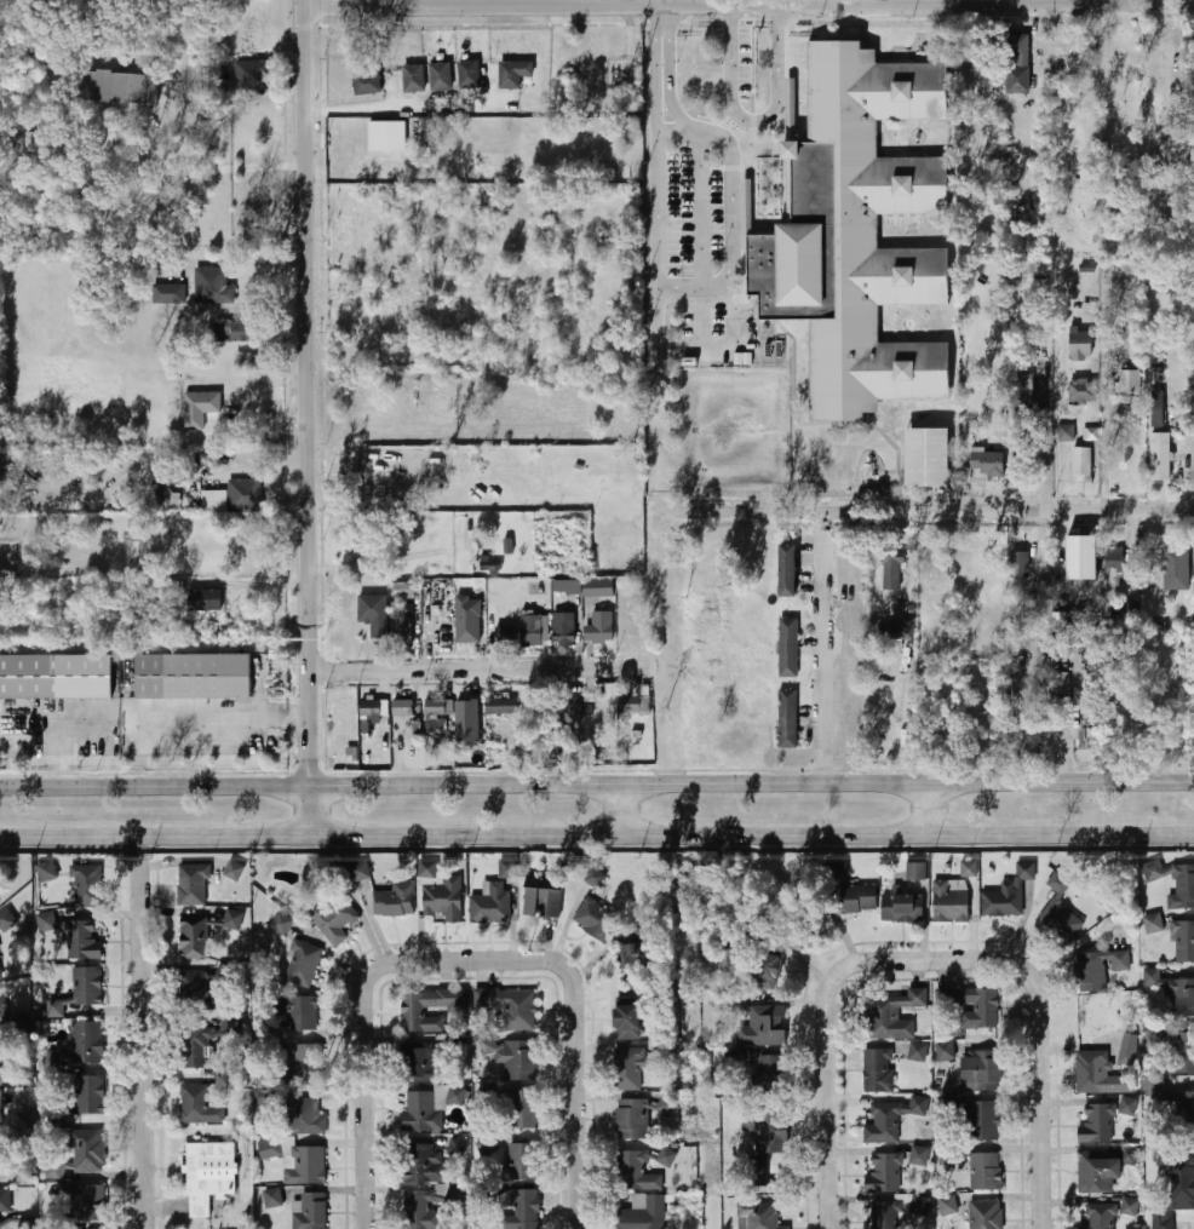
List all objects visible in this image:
road: (924, 2)
road: (478, 5)
building: (513, 73)
building: (441, 74)
building: (469, 74)
building: (253, 76)
building: (414, 77)
building: (1018, 80)
building: (366, 82)
building: (116, 87)
road: (402, 108)
road: (754, 121)
road: (672, 126)
building: (389, 136)
road: (733, 159)
road: (202, 182)
road: (701, 205)
road: (656, 230)
building: (861, 235)
building: (211, 286)
building: (167, 294)
building: (235, 331)
building: (1081, 345)
building: (246, 360)
building: (1127, 380)
building: (1024, 390)
road: (304, 391)
building: (1083, 391)
building: (200, 408)
building: (1158, 408)
road: (1055, 426)
building: (1068, 435)
building: (1160, 455)
building: (929, 456)
building: (1081, 461)
building: (987, 464)
building: (245, 494)
building: (214, 501)
road: (926, 509)
building: (1083, 556)
building: (1115, 559)
building: (1020, 564)
building: (892, 569)
building: (1176, 569)
building: (787, 570)
building: (567, 586)
building: (598, 588)
building: (404, 590)
building: (205, 599)
building: (374, 614)
building: (602, 626)
building: (532, 630)
building: (564, 630)
building: (401, 631)
building: (465, 631)
building: (628, 632)
building: (899, 633)
building: (441, 634)
building: (505, 634)
building: (788, 647)
road: (819, 660)
road: (475, 667)
building: (194, 676)
building: (56, 677)
building: (467, 703)
building: (500, 703)
building: (568, 703)
building: (604, 703)
building: (633, 705)
building: (339, 707)
building: (369, 707)
building: (401, 707)
building: (435, 712)
road: (1075, 712)
building: (787, 718)
road: (750, 781)
road: (153, 783)
road: (923, 806)
road: (306, 808)
road: (619, 808)
road: (751, 833)
road: (154, 834)
building: (505, 868)
building: (969, 868)
building: (233, 869)
building: (46, 871)
building: (360, 871)
building: (837, 871)
building: (917, 871)
building: (596, 877)
building: (193, 884)
building: (86, 885)
building: (1184, 888)
building: (438, 892)
building: (1008, 894)
building: (543, 896)
building: (394, 897)
building: (856, 898)
building: (951, 900)
building: (490, 902)
building: (1057, 907)
building: (902, 908)
building: (328, 915)
building: (595, 918)
building: (7, 919)
building: (231, 919)
building: (1153, 923)
building: (281, 924)
building: (193, 937)
building: (82, 940)
building: (1183, 942)
building: (633, 961)
building: (1120, 961)
building: (758, 964)
building: (303, 965)
building: (1089, 972)
building: (0, 976)
road: (833, 982)
building: (79, 990)
building: (197, 992)
building: (1175, 992)
building: (970, 1005)
building: (509, 1006)
building: (429, 1009)
building: (890, 1011)
building: (297, 1012)
building: (1, 1015)
building: (627, 1022)
building: (19, 1023)
building: (758, 1023)
building: (1102, 1023)
road: (144, 1032)
road: (366, 1044)
building: (80, 1045)
building: (194, 1047)
road: (578, 1051)
building: (918, 1051)
building: (945, 1051)
building: (1181, 1053)
building: (512, 1057)
building: (424, 1062)
building: (306, 1063)
building: (627, 1069)
building: (877, 1072)
building: (980, 1072)
building: (1090, 1073)
building: (769, 1074)
building: (1154, 1087)
building: (75, 1098)
building: (197, 1105)
building: (1126, 1105)
building: (430, 1107)
building: (521, 1109)
building: (0, 1110)
building: (1179, 1110)
building: (304, 1116)
building: (890, 1118)
road: (1044, 1118)
building: (631, 1120)
building: (982, 1121)
building: (1097, 1125)
building: (764, 1138)
building: (458, 1147)
building: (270, 1148)
building: (87, 1150)
building: (919, 1158)
building: (519, 1162)
building: (420, 1164)
building: (304, 1165)
building: (641, 1168)
building: (1100, 1171)
building: (986, 1172)
building: (884, 1173)
building: (207, 1175)
building: (1183, 1178)
building: (271, 1199)
building: (5, 1200)
building: (84, 1201)
building: (948, 1205)
building: (920, 1206)
building: (1129, 1207)
building: (421, 1208)
building: (519, 1210)
building: (309, 1212)
building: (643, 1212)
building: (885, 1214)
building: (985, 1214)
building: (1096, 1214)
building: (757, 1216)
building: (1164, 1219)

